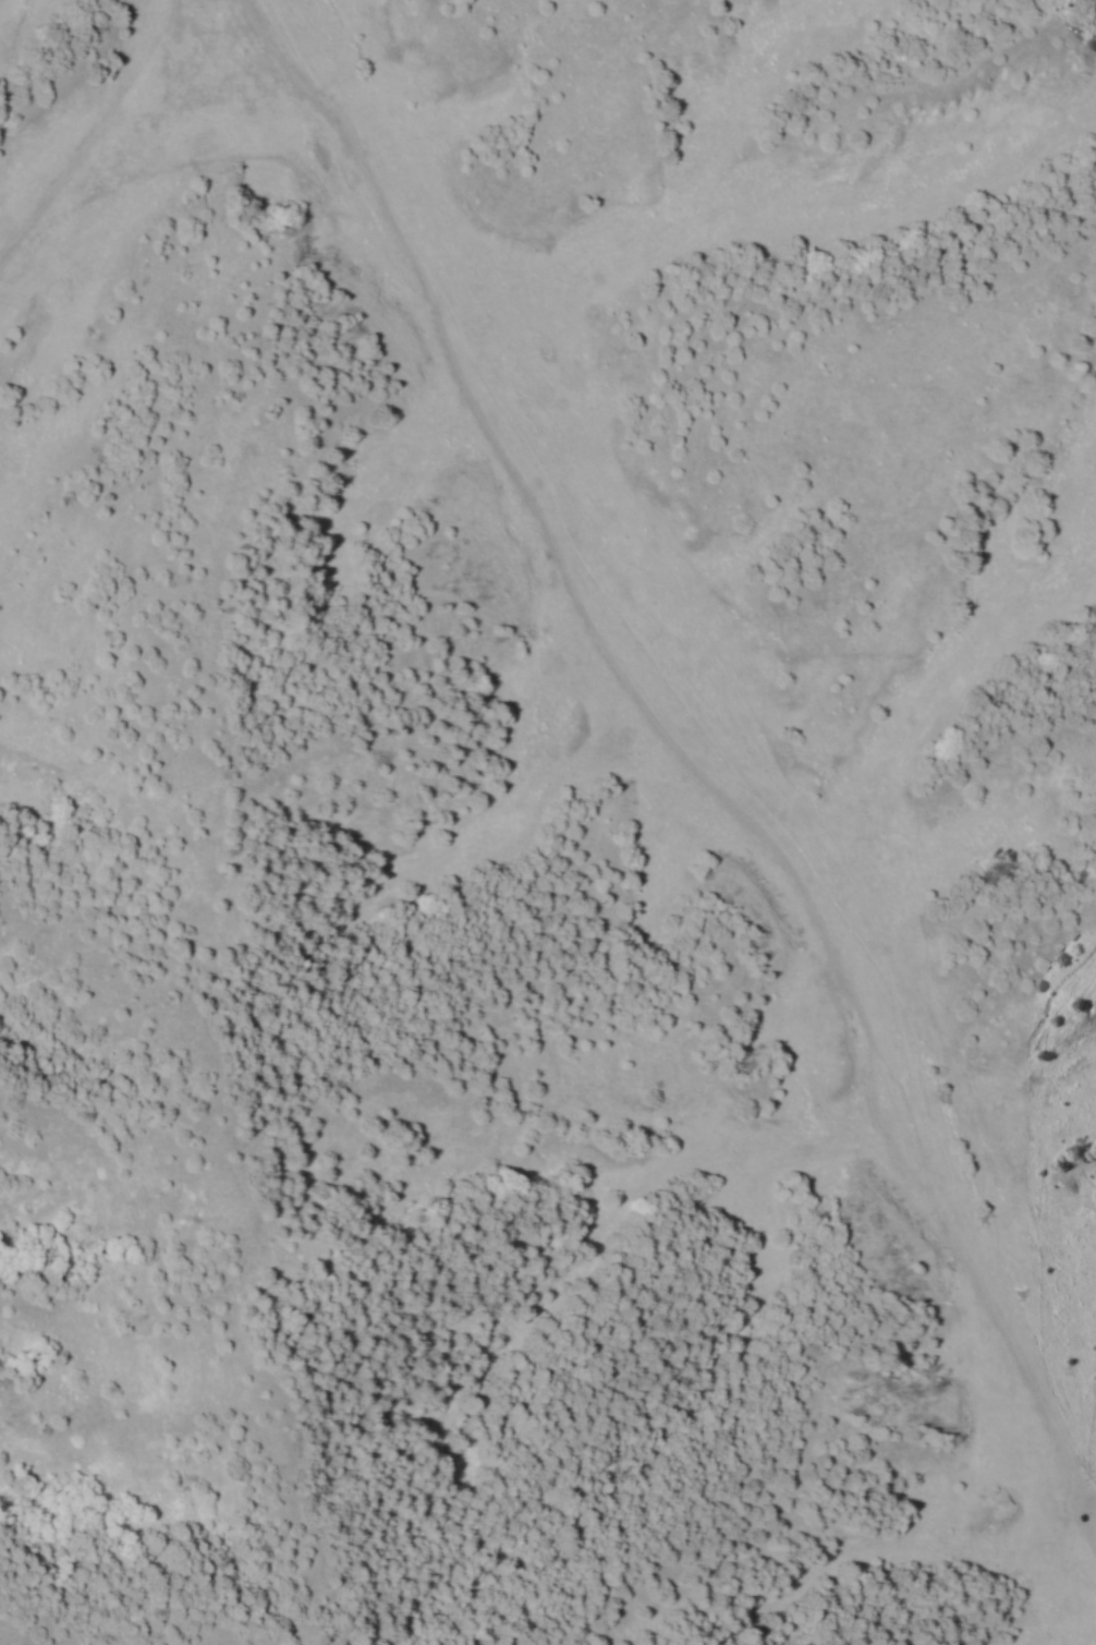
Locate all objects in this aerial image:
road: (86, 130)
road: (671, 754)

